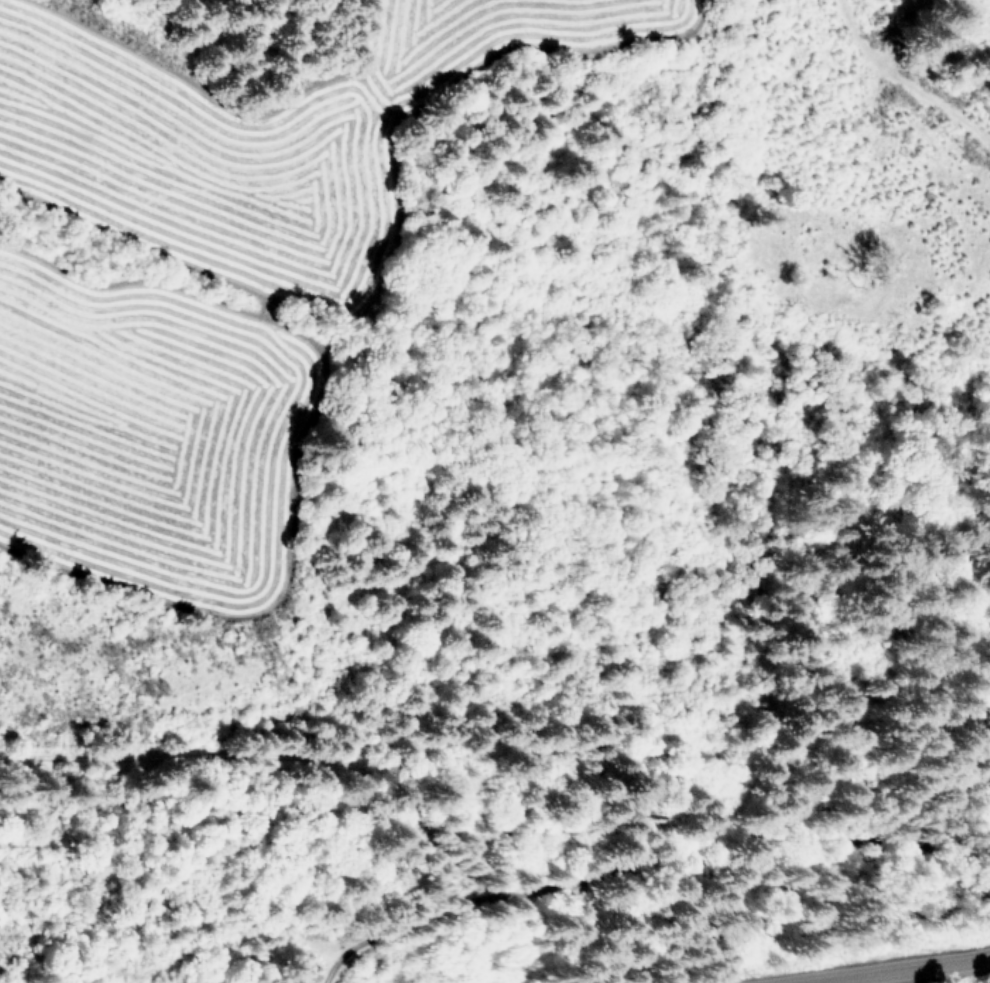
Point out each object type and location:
road: (906, 82)
road: (907, 971)

